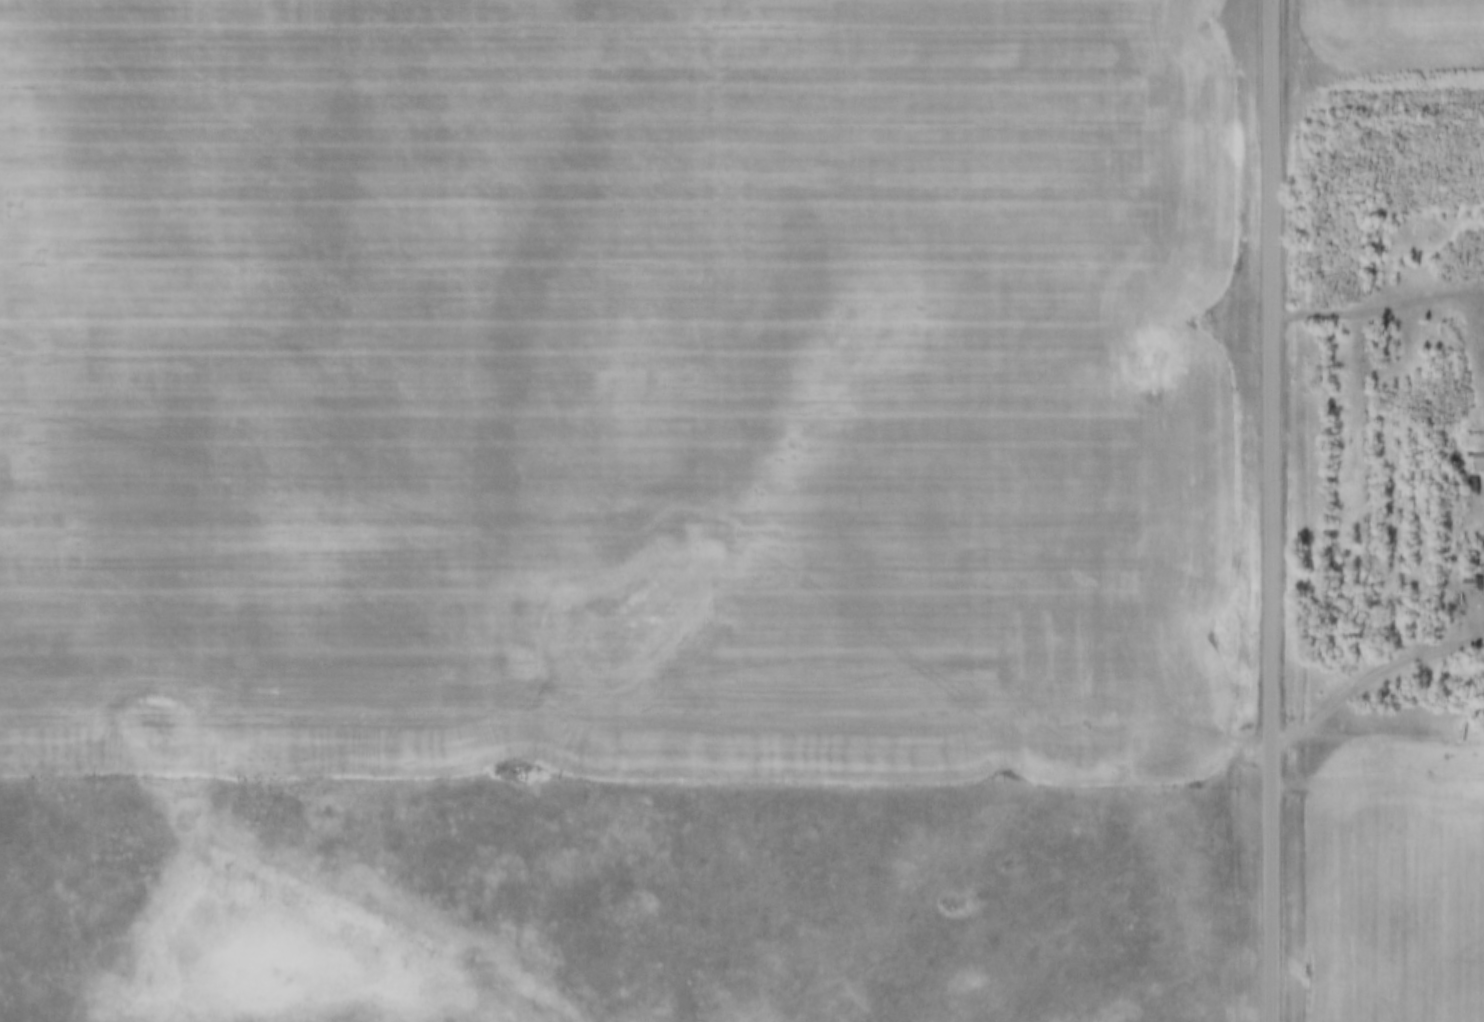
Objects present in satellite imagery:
road: (1376, 308)
road: (1268, 511)
road: (1369, 677)

